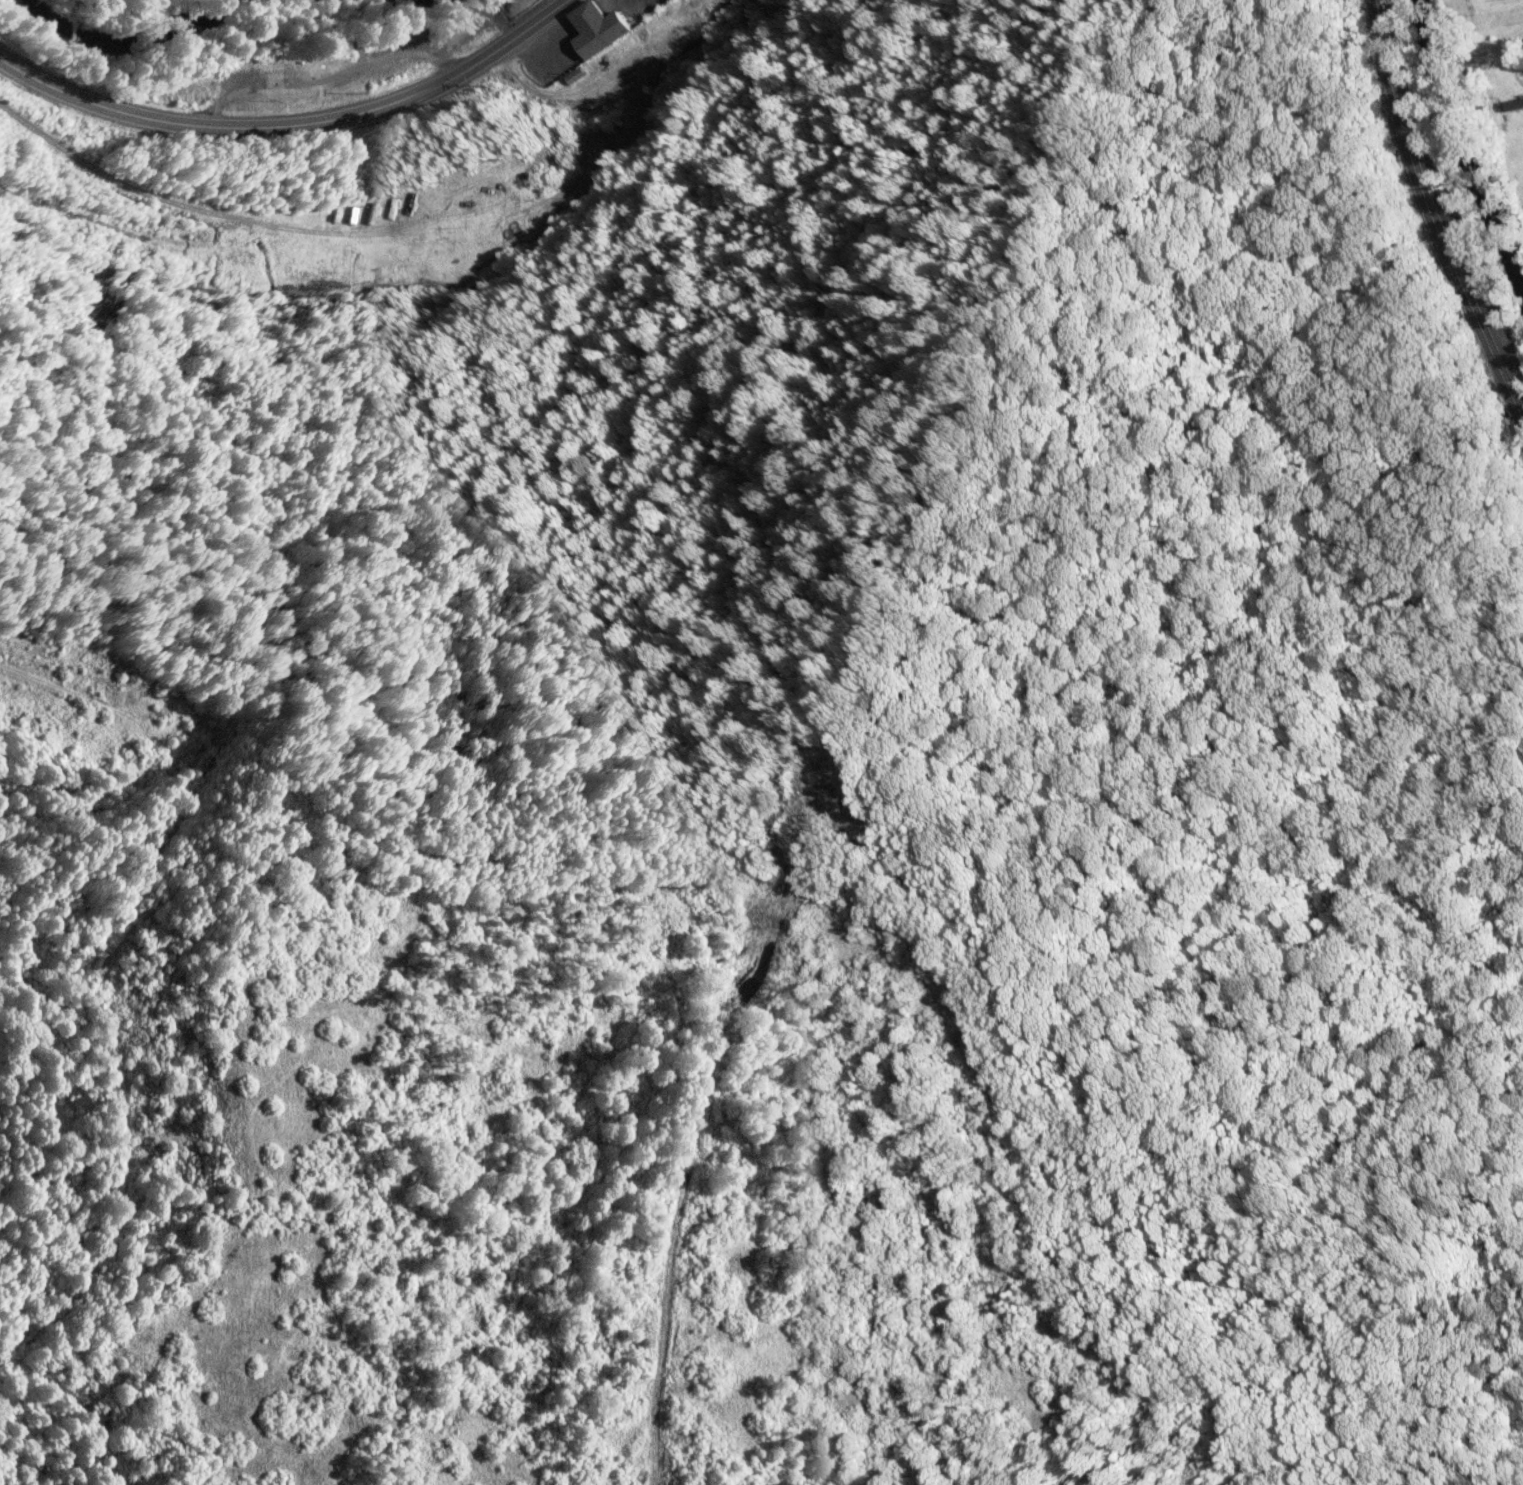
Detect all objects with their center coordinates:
building: (599, 26)
river: (124, 43)
building: (316, 63)
building: (183, 82)
building: (292, 94)
building: (1518, 101)
road: (291, 124)
river: (1470, 139)
road: (1432, 208)

